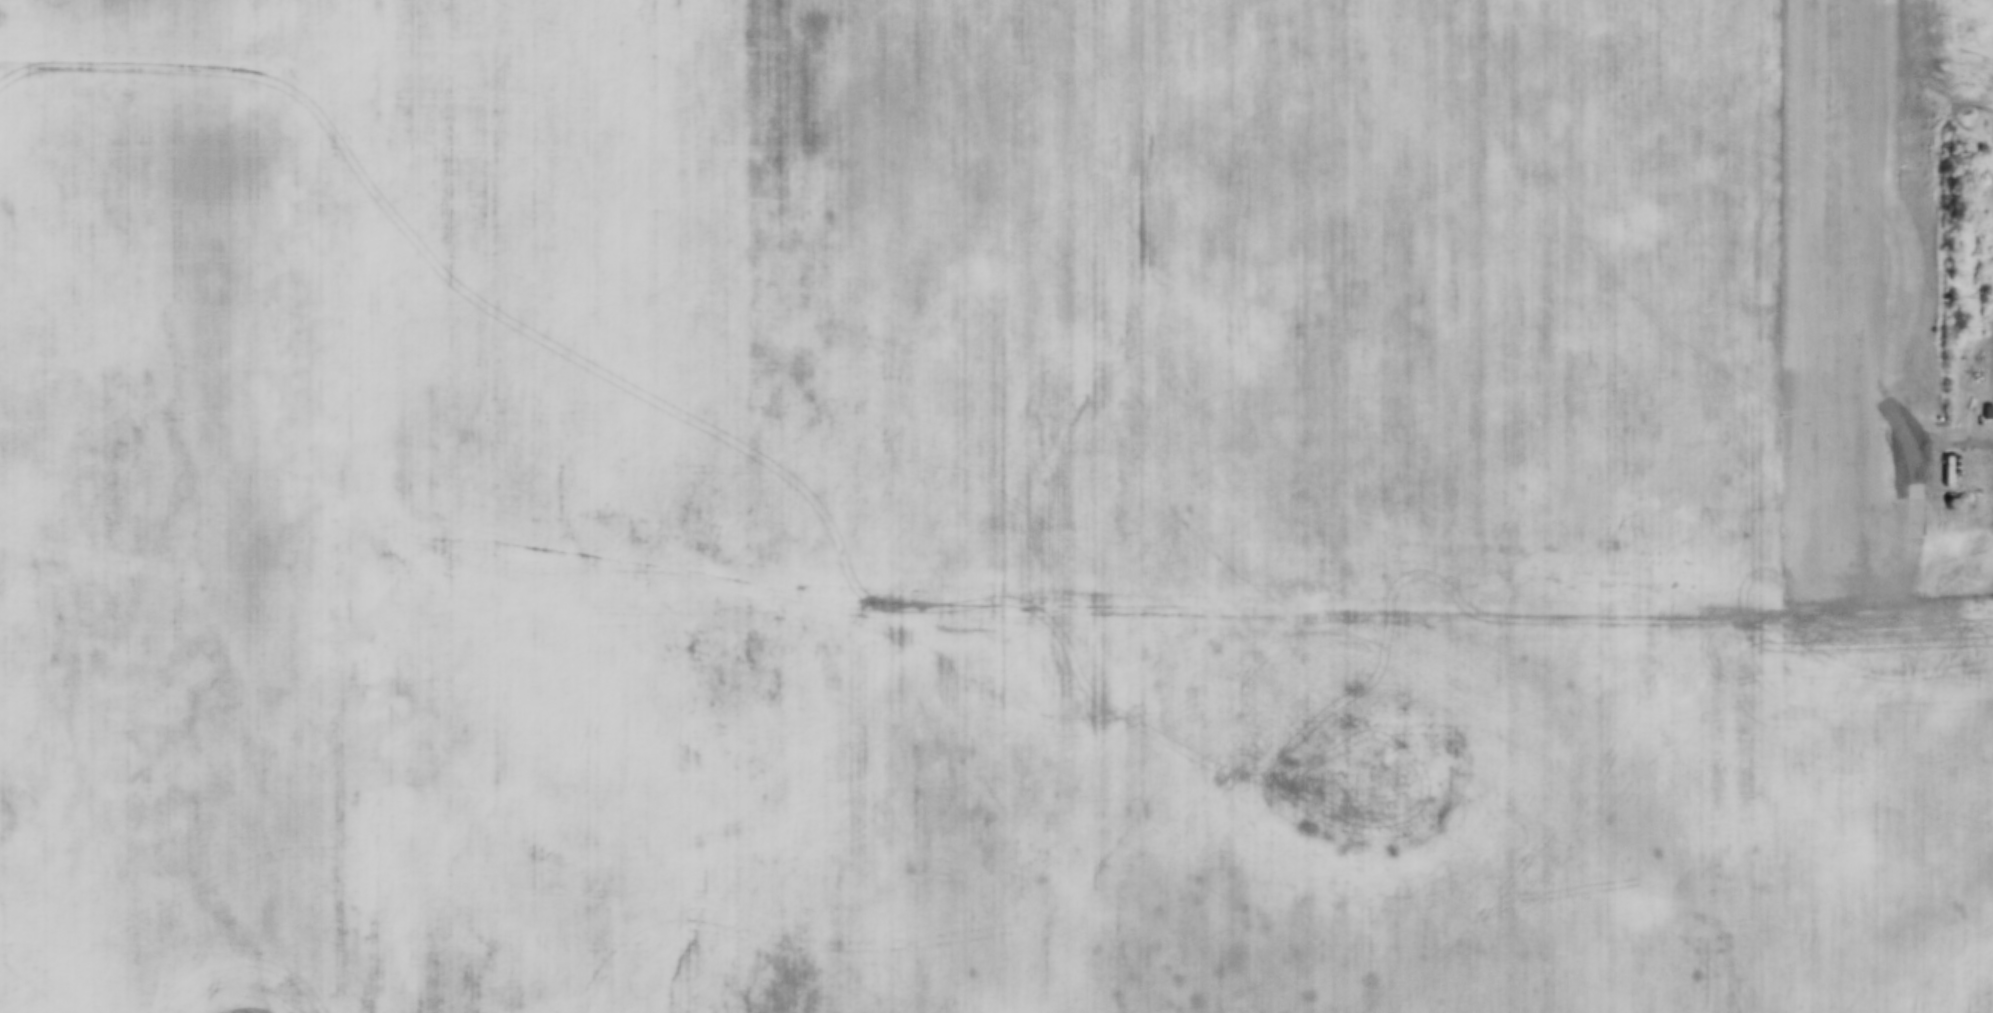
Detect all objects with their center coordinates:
airport runway: (1839, 290)
airport taxiway: (1916, 440)
road: (1899, 600)

